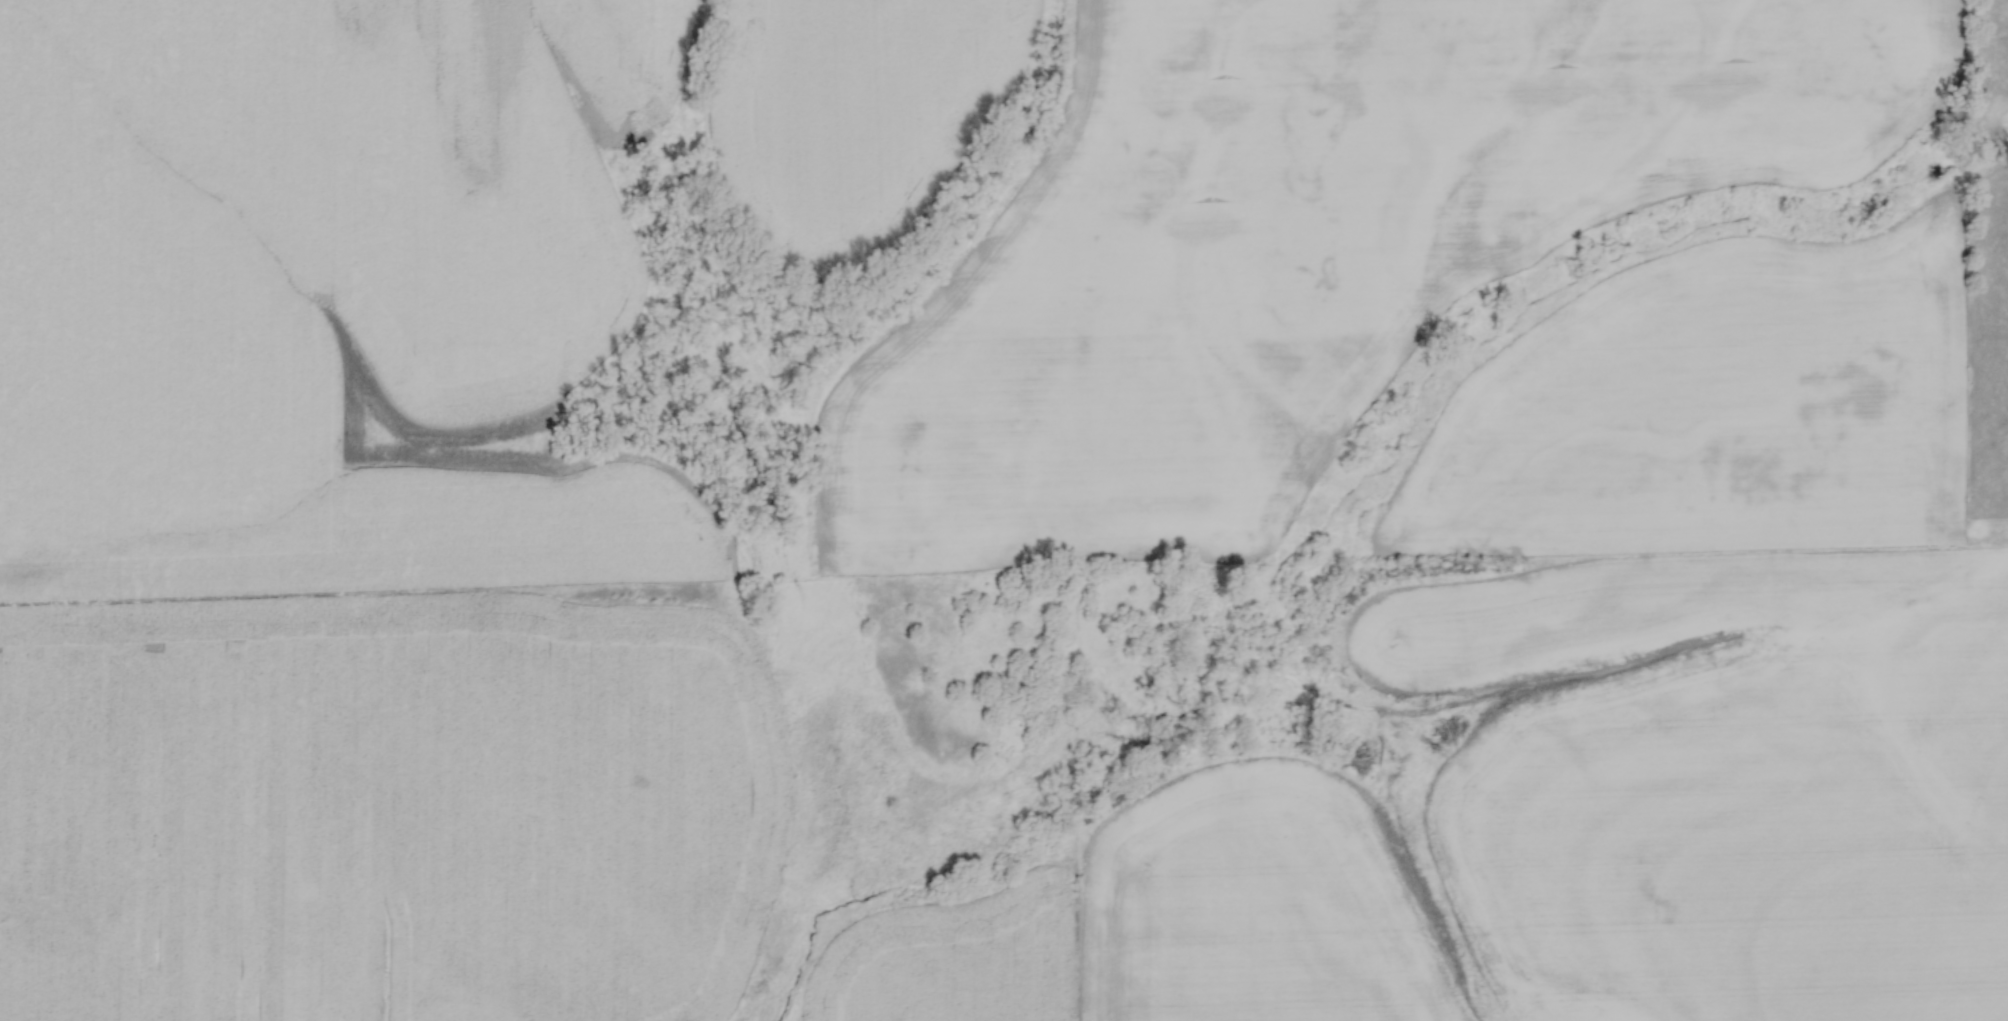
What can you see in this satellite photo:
crop: (951, 957)

